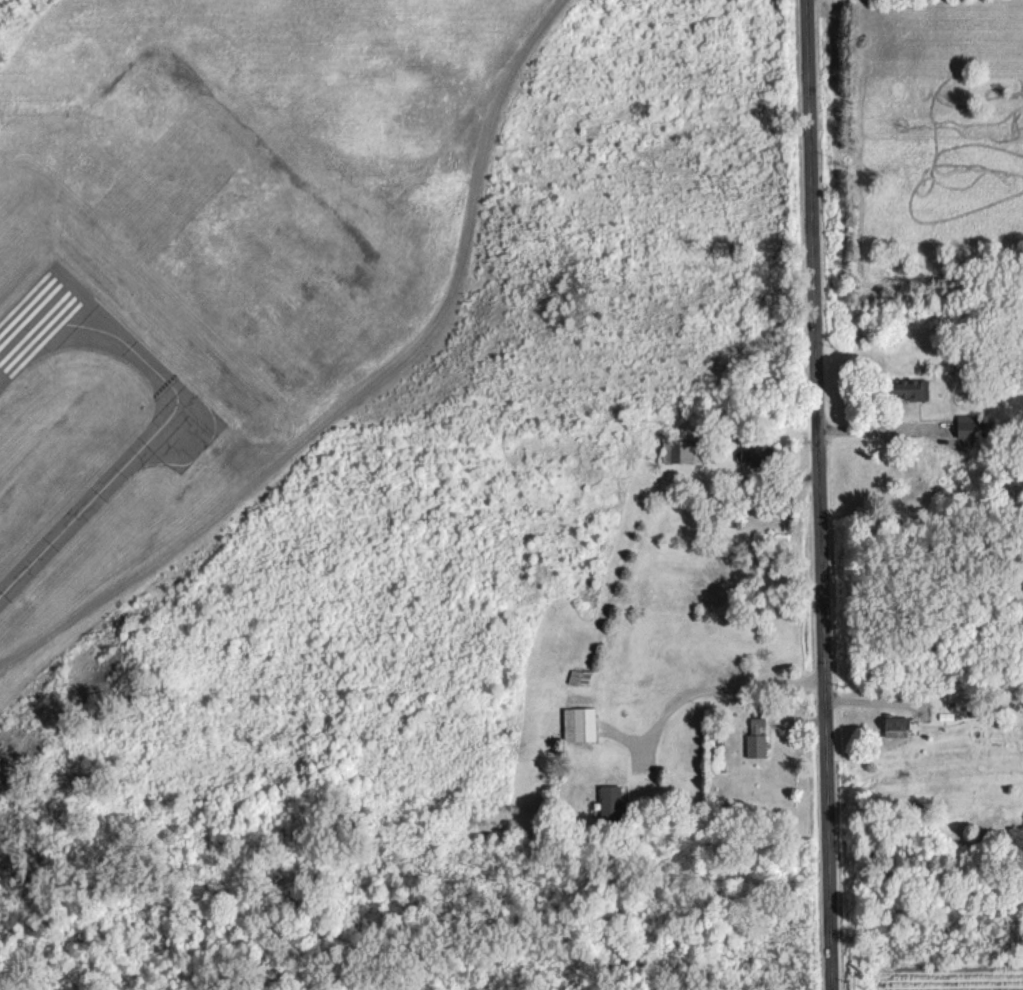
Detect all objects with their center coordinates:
airport runway: (30, 318)
building: (906, 388)
building: (965, 426)
road: (873, 431)
airport taxiway: (149, 435)
building: (682, 452)
road: (816, 494)
road: (719, 688)
road: (783, 717)
building: (579, 724)
building: (895, 726)
building: (755, 738)
building: (610, 801)

